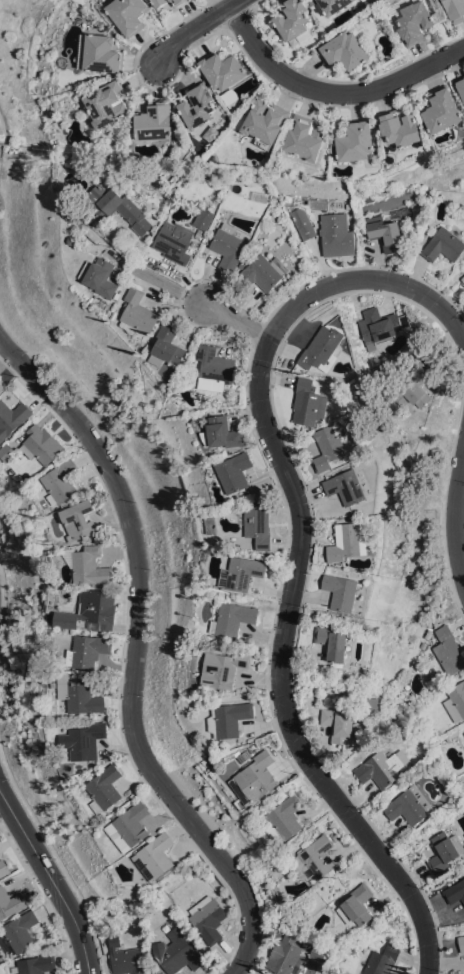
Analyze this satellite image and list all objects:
building: (171, 0)
building: (159, 2)
building: (178, 2)
building: (334, 5)
building: (455, 10)
building: (126, 14)
building: (293, 20)
building: (413, 20)
road: (195, 27)
building: (347, 47)
building: (100, 53)
building: (224, 74)
building: (461, 85)
road: (333, 91)
building: (107, 103)
building: (198, 105)
building: (442, 110)
building: (155, 121)
building: (223, 121)
building: (265, 121)
building: (401, 128)
building: (305, 138)
building: (356, 141)
building: (182, 157)
building: (259, 196)
building: (349, 205)
building: (117, 206)
building: (68, 214)
building: (203, 218)
building: (303, 220)
building: (101, 226)
building: (386, 232)
building: (199, 233)
building: (336, 235)
building: (74, 239)
building: (174, 241)
building: (194, 243)
building: (444, 244)
building: (227, 246)
building: (242, 263)
building: (264, 271)
building: (102, 276)
building: (463, 278)
road: (364, 279)
road: (169, 285)
building: (139, 312)
road: (240, 321)
building: (380, 325)
building: (168, 345)
building: (322, 348)
building: (216, 369)
building: (1, 386)
building: (413, 387)
building: (309, 403)
building: (12, 418)
building: (223, 433)
building: (42, 444)
building: (331, 448)
building: (9, 451)
building: (236, 472)
building: (62, 481)
building: (347, 486)
road: (459, 511)
building: (80, 519)
building: (258, 524)
building: (348, 541)
building: (89, 565)
building: (242, 572)
building: (342, 591)
road: (2, 601)
building: (88, 609)
building: (233, 618)
building: (428, 633)
building: (333, 641)
building: (89, 650)
building: (446, 651)
road: (136, 655)
building: (224, 668)
road: (279, 671)
building: (81, 694)
building: (456, 701)
building: (228, 719)
building: (338, 724)
building: (452, 733)
building: (86, 740)
building: (245, 755)
building: (70, 766)
building: (382, 767)
building: (256, 778)
building: (105, 788)
building: (410, 805)
building: (284, 818)
building: (130, 826)
building: (99, 832)
building: (444, 850)
building: (156, 856)
road: (57, 858)
building: (315, 858)
building: (4, 868)
road: (51, 880)
building: (455, 891)
building: (11, 902)
building: (356, 906)
building: (208, 918)
building: (22, 933)
building: (461, 942)
building: (178, 951)
building: (319, 952)
building: (287, 955)
building: (126, 958)
building: (382, 960)
building: (37, 964)

